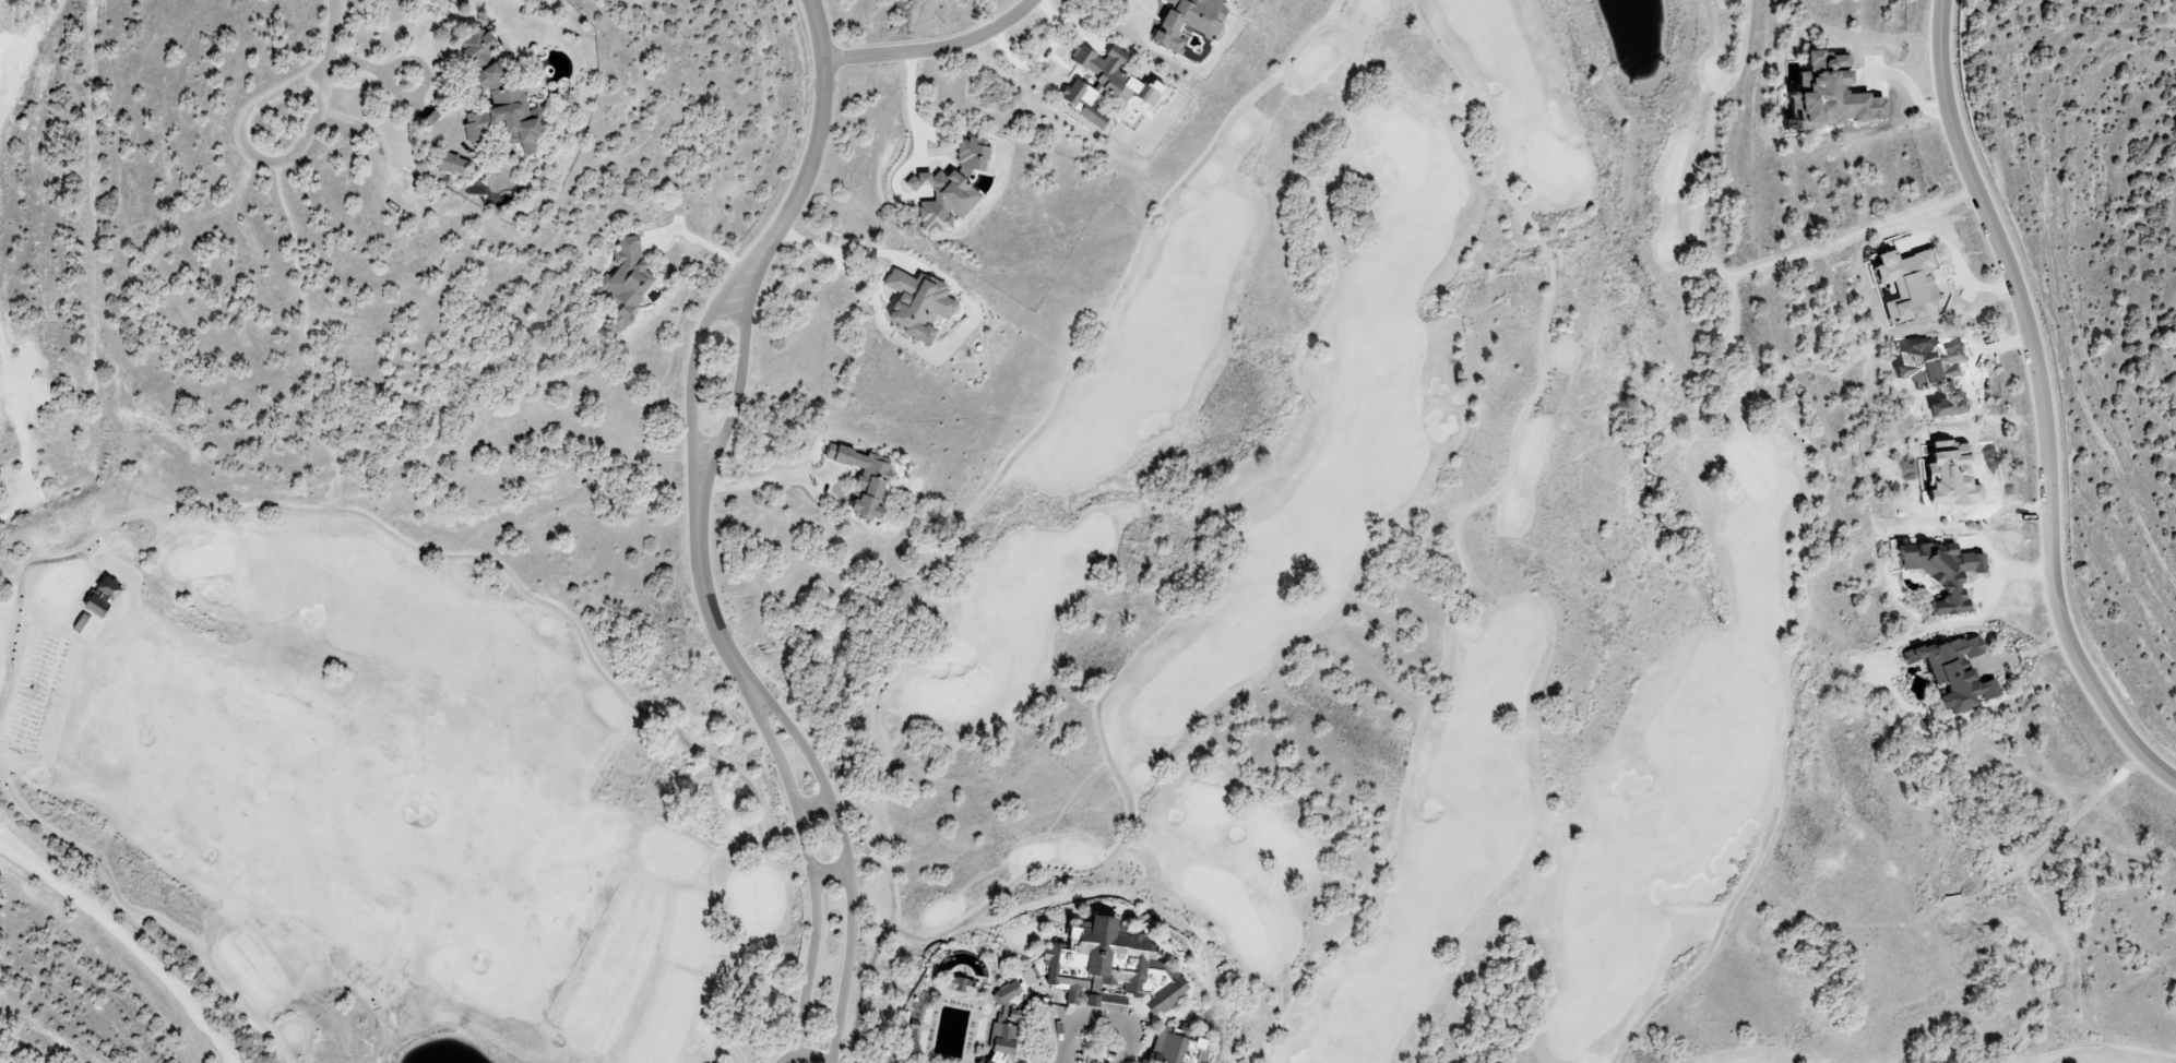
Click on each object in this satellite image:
building: (1193, 22)
road: (332, 38)
road: (935, 50)
building: (1115, 74)
building: (1824, 94)
building: (511, 95)
building: (1084, 101)
building: (483, 128)
road: (821, 133)
park: (1405, 151)
road: (251, 157)
building: (456, 166)
building: (953, 188)
road: (842, 248)
building: (626, 282)
building: (1903, 284)
building: (921, 306)
road: (695, 367)
road: (738, 379)
road: (2042, 399)
building: (1943, 476)
road: (760, 478)
building: (867, 478)
road: (985, 495)
road: (1212, 560)
building: (1937, 572)
road: (702, 590)
building: (106, 598)
building: (1950, 672)
park: (955, 694)
road: (812, 803)
road: (844, 852)
road: (807, 861)
road: (8, 872)
road: (830, 873)
road: (1038, 884)
road: (1084, 896)
road: (1153, 898)
road: (1204, 959)
road: (110, 963)
building: (1108, 969)
building: (1026, 977)
building: (1034, 977)
building: (955, 986)
building: (1024, 1015)
road: (1096, 1018)
building: (1001, 1027)
parking lot: (1098, 1037)
building: (1177, 1047)
road: (1223, 1052)
road: (2114, 1052)
road: (802, 1055)

